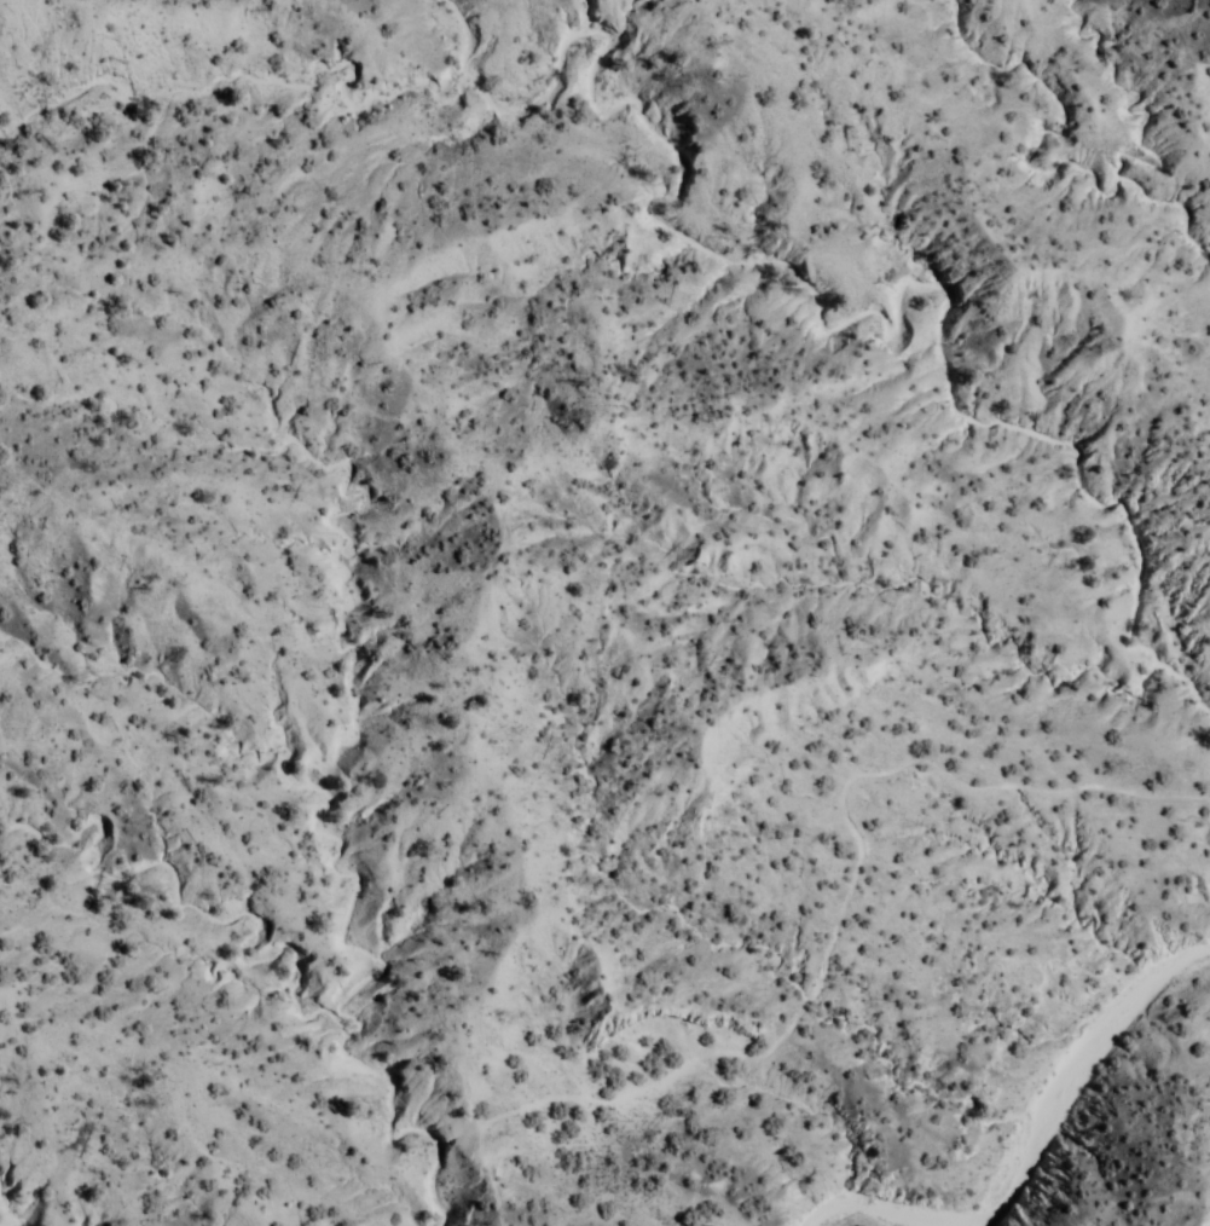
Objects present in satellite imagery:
road: (1021, 1114)

